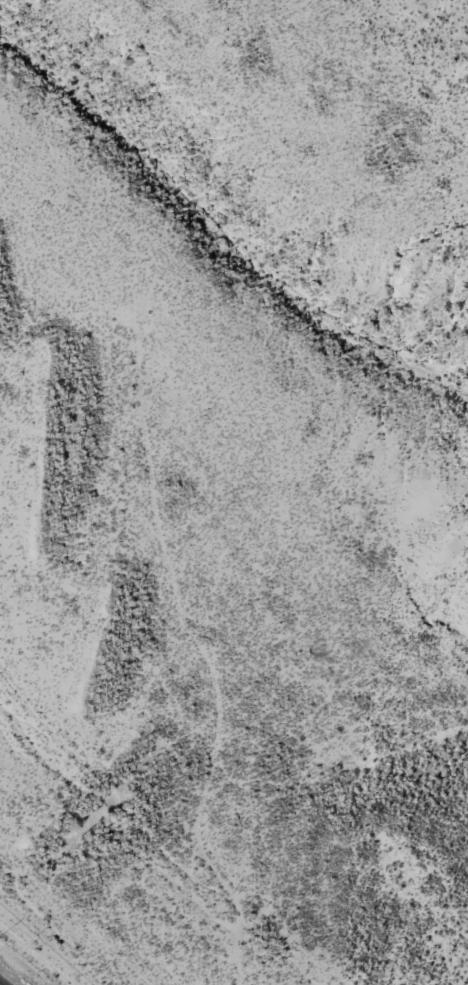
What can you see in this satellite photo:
road: (2, 983)

